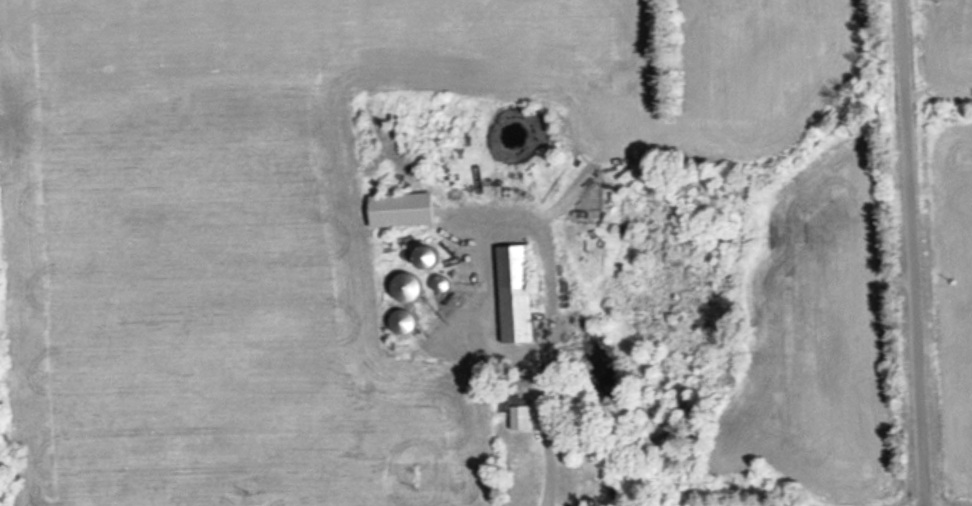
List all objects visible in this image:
building: (405, 210)
road: (916, 253)
building: (433, 257)
building: (445, 284)
building: (411, 288)
building: (518, 294)
building: (406, 322)
building: (521, 415)

